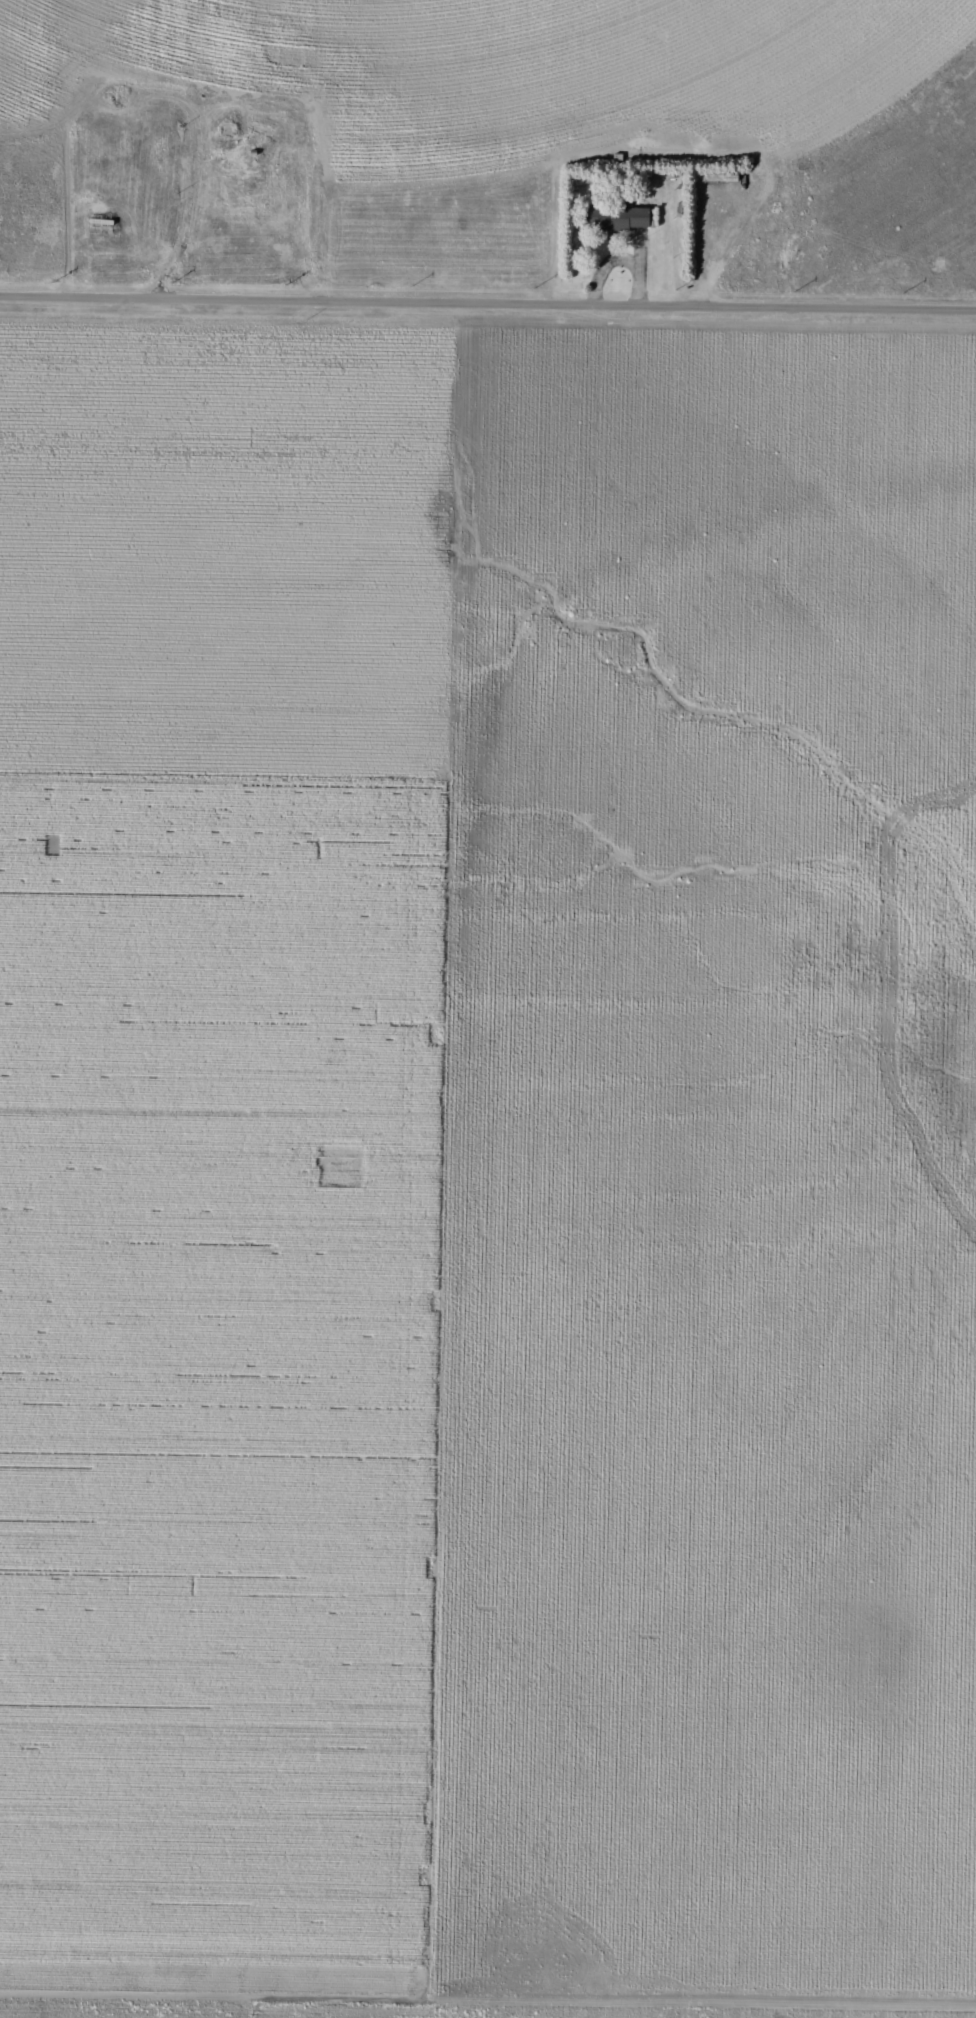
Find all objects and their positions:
road: (488, 301)

